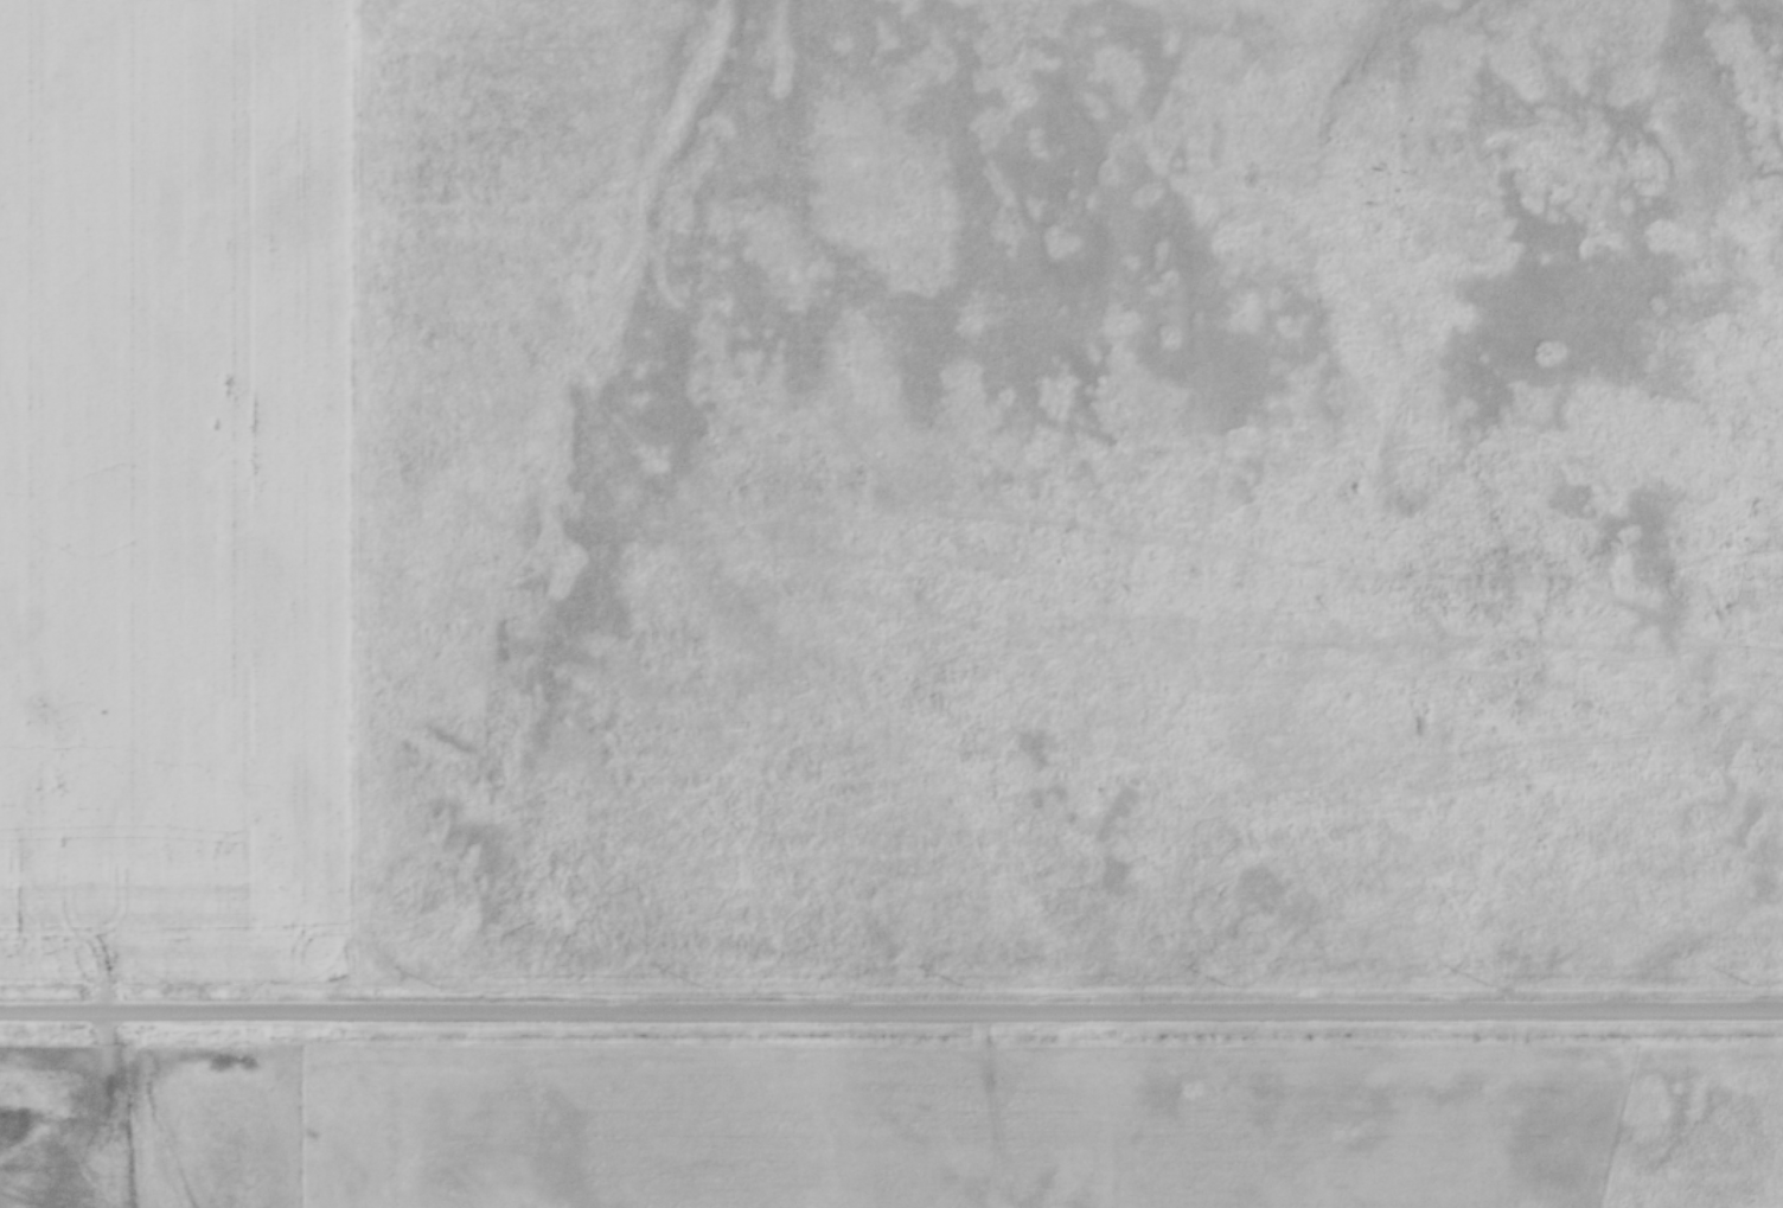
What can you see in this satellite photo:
road: (891, 1004)

